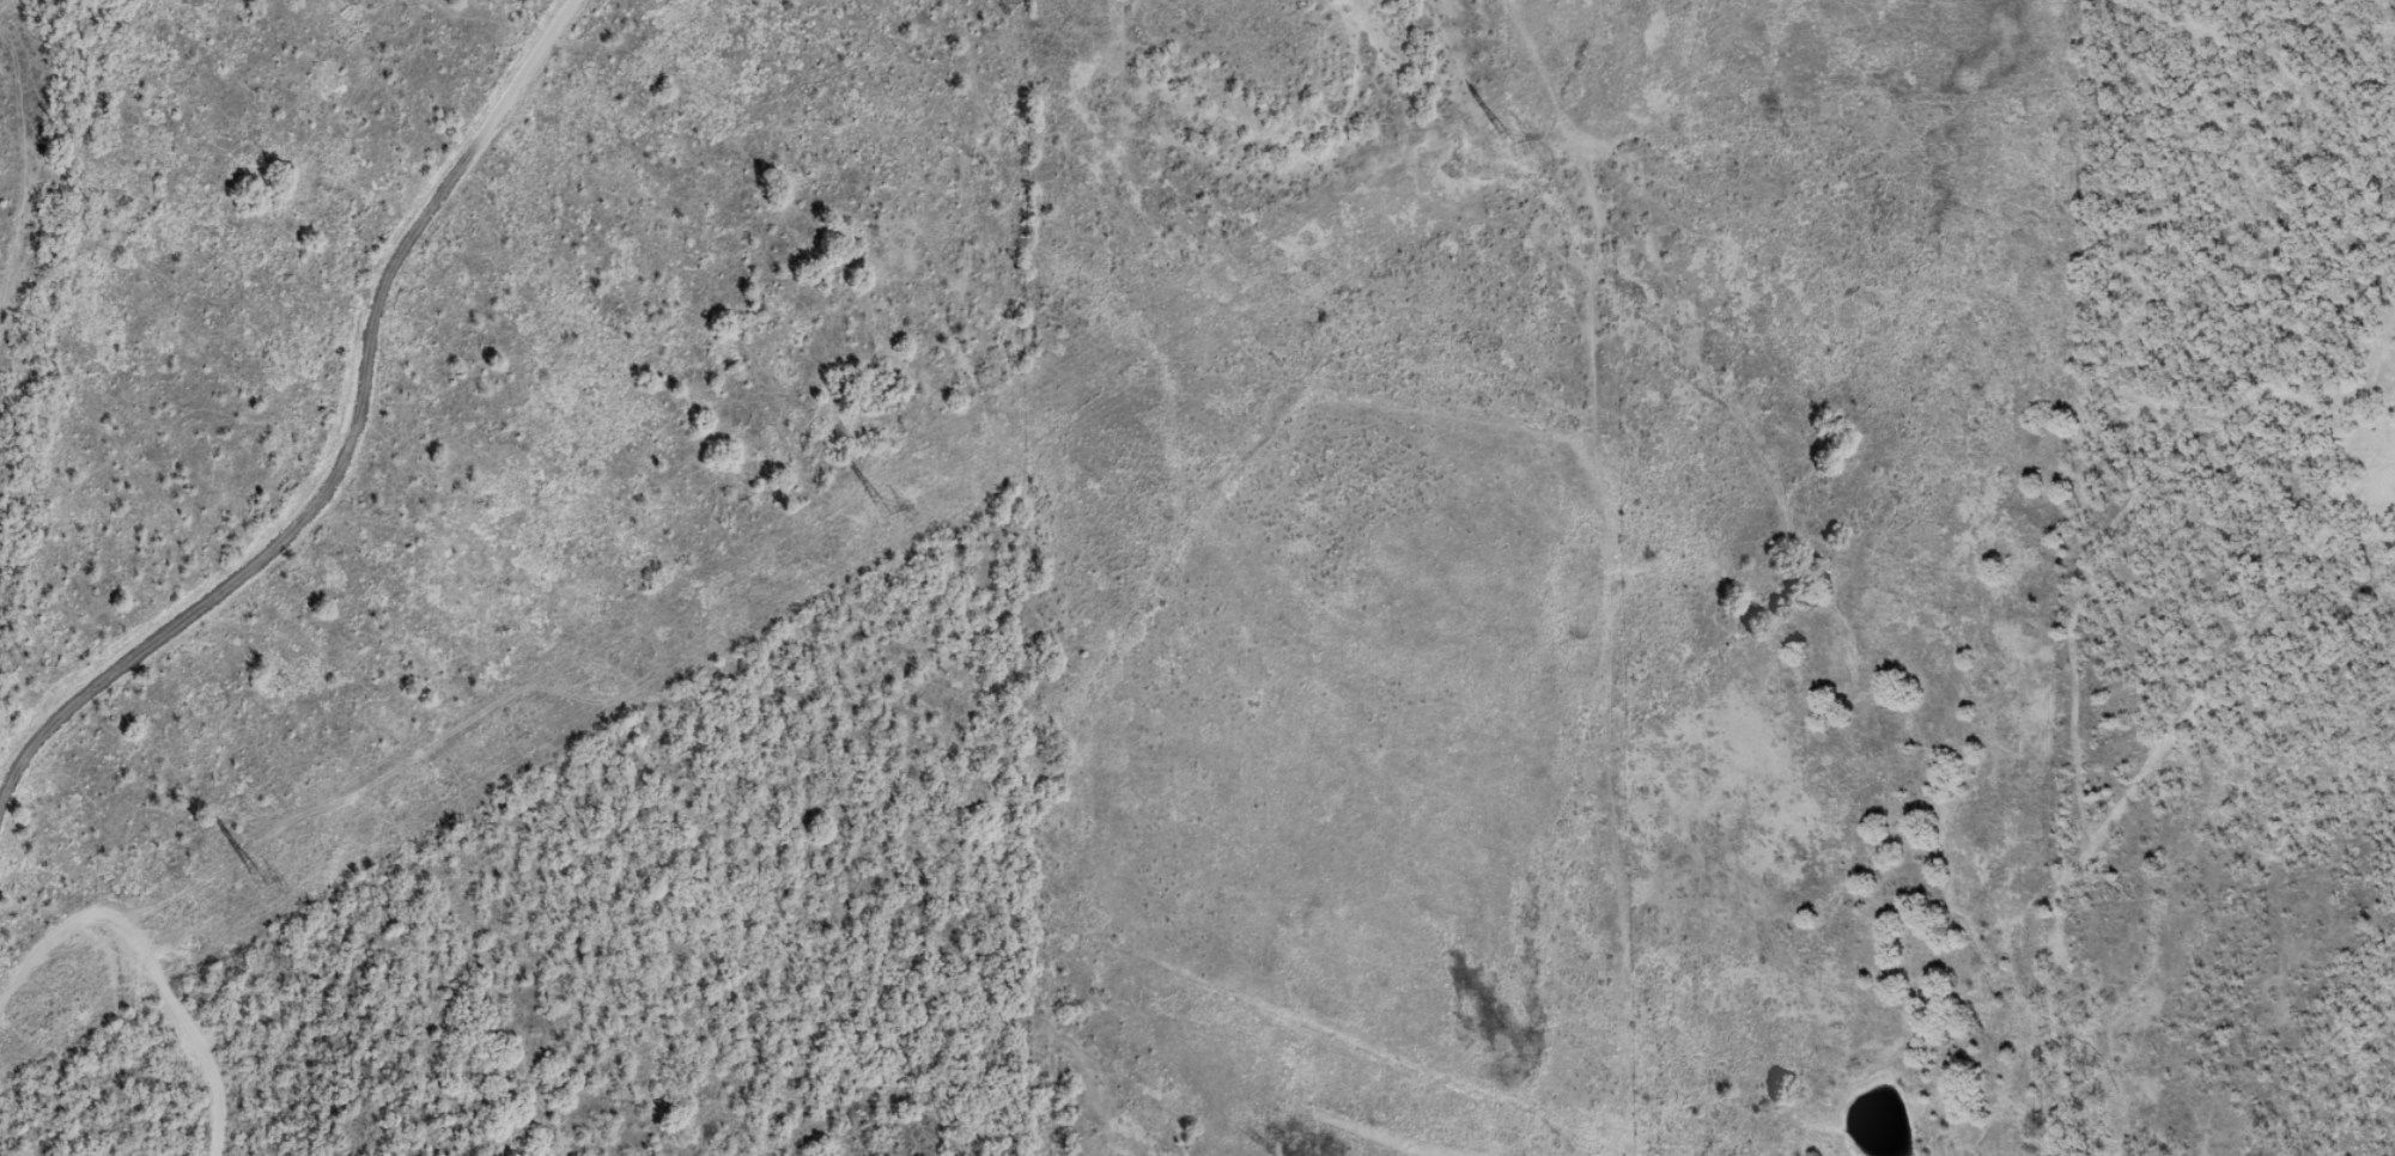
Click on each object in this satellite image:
power tower: (1502, 139)
road: (351, 464)
power tower: (882, 509)
power tower: (259, 881)
road: (135, 1030)

